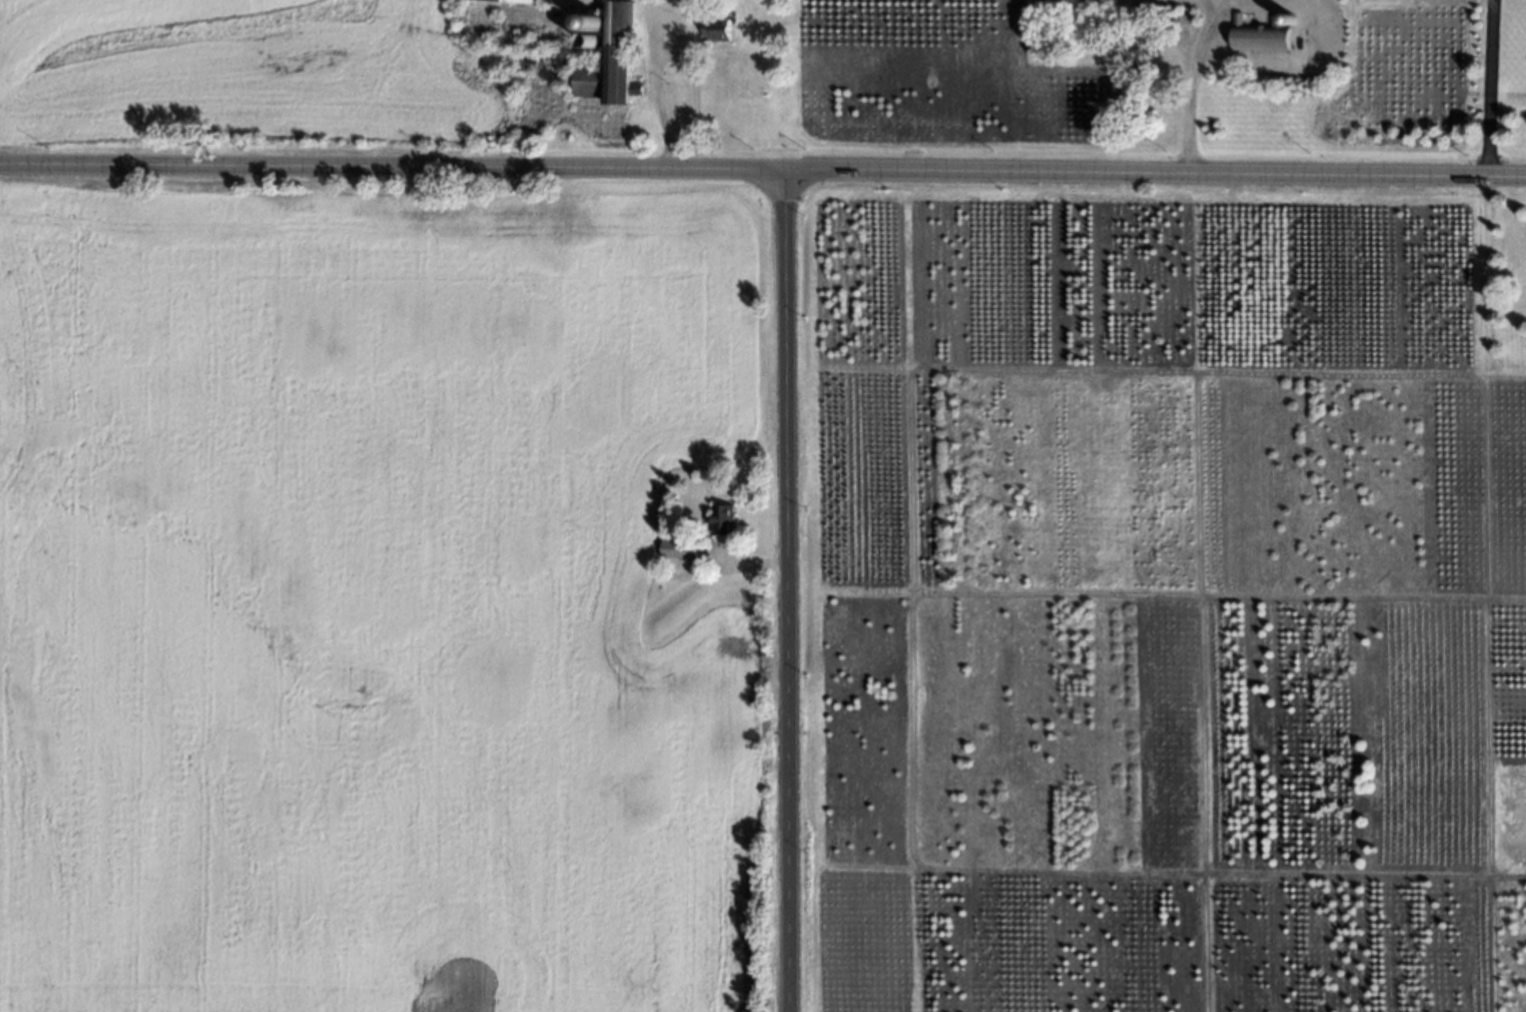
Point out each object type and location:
building: (503, 1)
road: (1445, 2)
building: (590, 23)
building: (714, 28)
building: (1177, 32)
building: (1259, 32)
building: (586, 40)
building: (607, 59)
road: (1193, 70)
building: (741, 73)
building: (557, 84)
road: (650, 85)
road: (1490, 90)
road: (690, 98)
road: (392, 168)
road: (1155, 176)
building: (719, 517)
building: (677, 543)
road: (785, 592)

